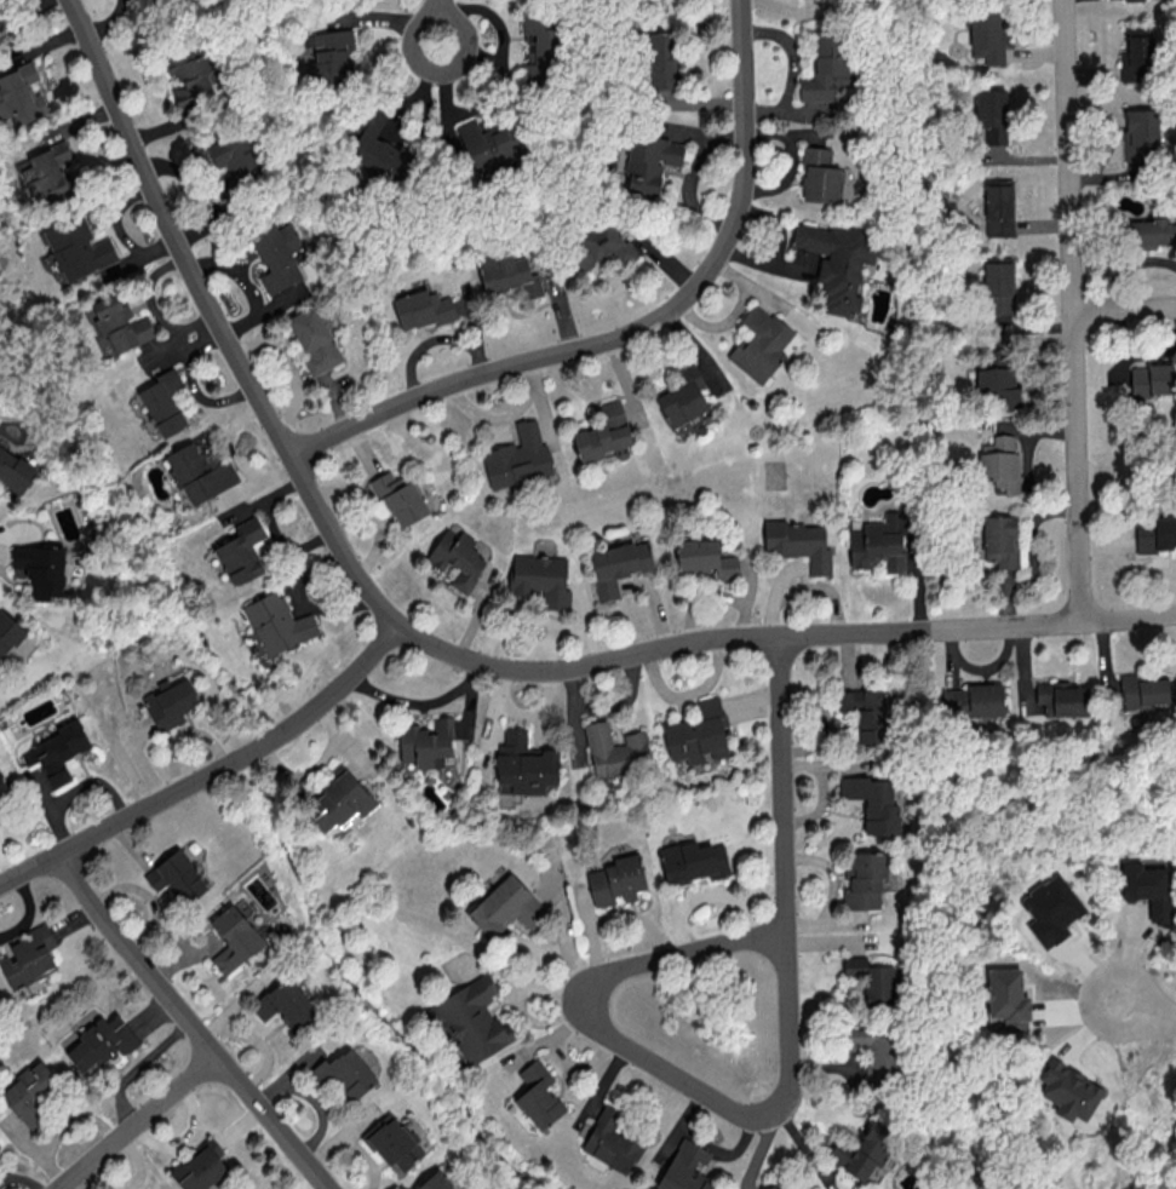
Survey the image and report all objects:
building: (1128, 0)
road: (438, 19)
building: (0, 21)
building: (540, 36)
building: (987, 36)
building: (1136, 53)
building: (332, 56)
building: (661, 59)
building: (825, 76)
building: (189, 80)
building: (21, 94)
building: (992, 114)
building: (1141, 133)
building: (487, 143)
building: (379, 150)
building: (236, 155)
building: (650, 161)
building: (48, 170)
building: (819, 176)
building: (998, 207)
building: (1151, 232)
building: (600, 243)
building: (78, 247)
building: (277, 254)
building: (836, 262)
building: (509, 274)
building: (998, 285)
building: (423, 308)
road: (1124, 308)
road: (1071, 310)
road: (219, 318)
building: (120, 322)
road: (639, 329)
building: (314, 340)
building: (762, 344)
building: (1153, 378)
building: (997, 381)
building: (683, 397)
building: (164, 401)
building: (604, 433)
building: (518, 458)
building: (1000, 461)
building: (15, 471)
building: (199, 472)
building: (400, 498)
building: (1154, 534)
building: (1000, 540)
building: (878, 541)
building: (799, 542)
building: (241, 551)
building: (457, 557)
building: (704, 557)
building: (618, 564)
building: (39, 568)
building: (541, 578)
building: (277, 622)
building: (7, 631)
road: (781, 637)
building: (1143, 695)
building: (1061, 697)
building: (170, 700)
building: (971, 700)
building: (865, 712)
building: (698, 734)
building: (428, 742)
building: (615, 749)
building: (57, 751)
building: (523, 764)
road: (213, 774)
road: (779, 783)
building: (5, 795)
building: (340, 799)
building: (872, 802)
building: (693, 861)
building: (177, 877)
building: (616, 880)
building: (864, 880)
building: (1147, 888)
building: (505, 907)
building: (1051, 908)
building: (234, 937)
building: (29, 957)
road: (627, 966)
building: (872, 978)
building: (1006, 998)
building: (283, 1004)
road: (1146, 1009)
building: (474, 1018)
road: (190, 1026)
building: (101, 1042)
building: (874, 1055)
building: (345, 1073)
building: (1068, 1090)
building: (28, 1091)
building: (538, 1095)
road: (137, 1122)
building: (394, 1142)
building: (612, 1142)
building: (1, 1148)
building: (864, 1150)
building: (200, 1166)
building: (684, 1167)
building: (438, 1181)
building: (770, 1187)

